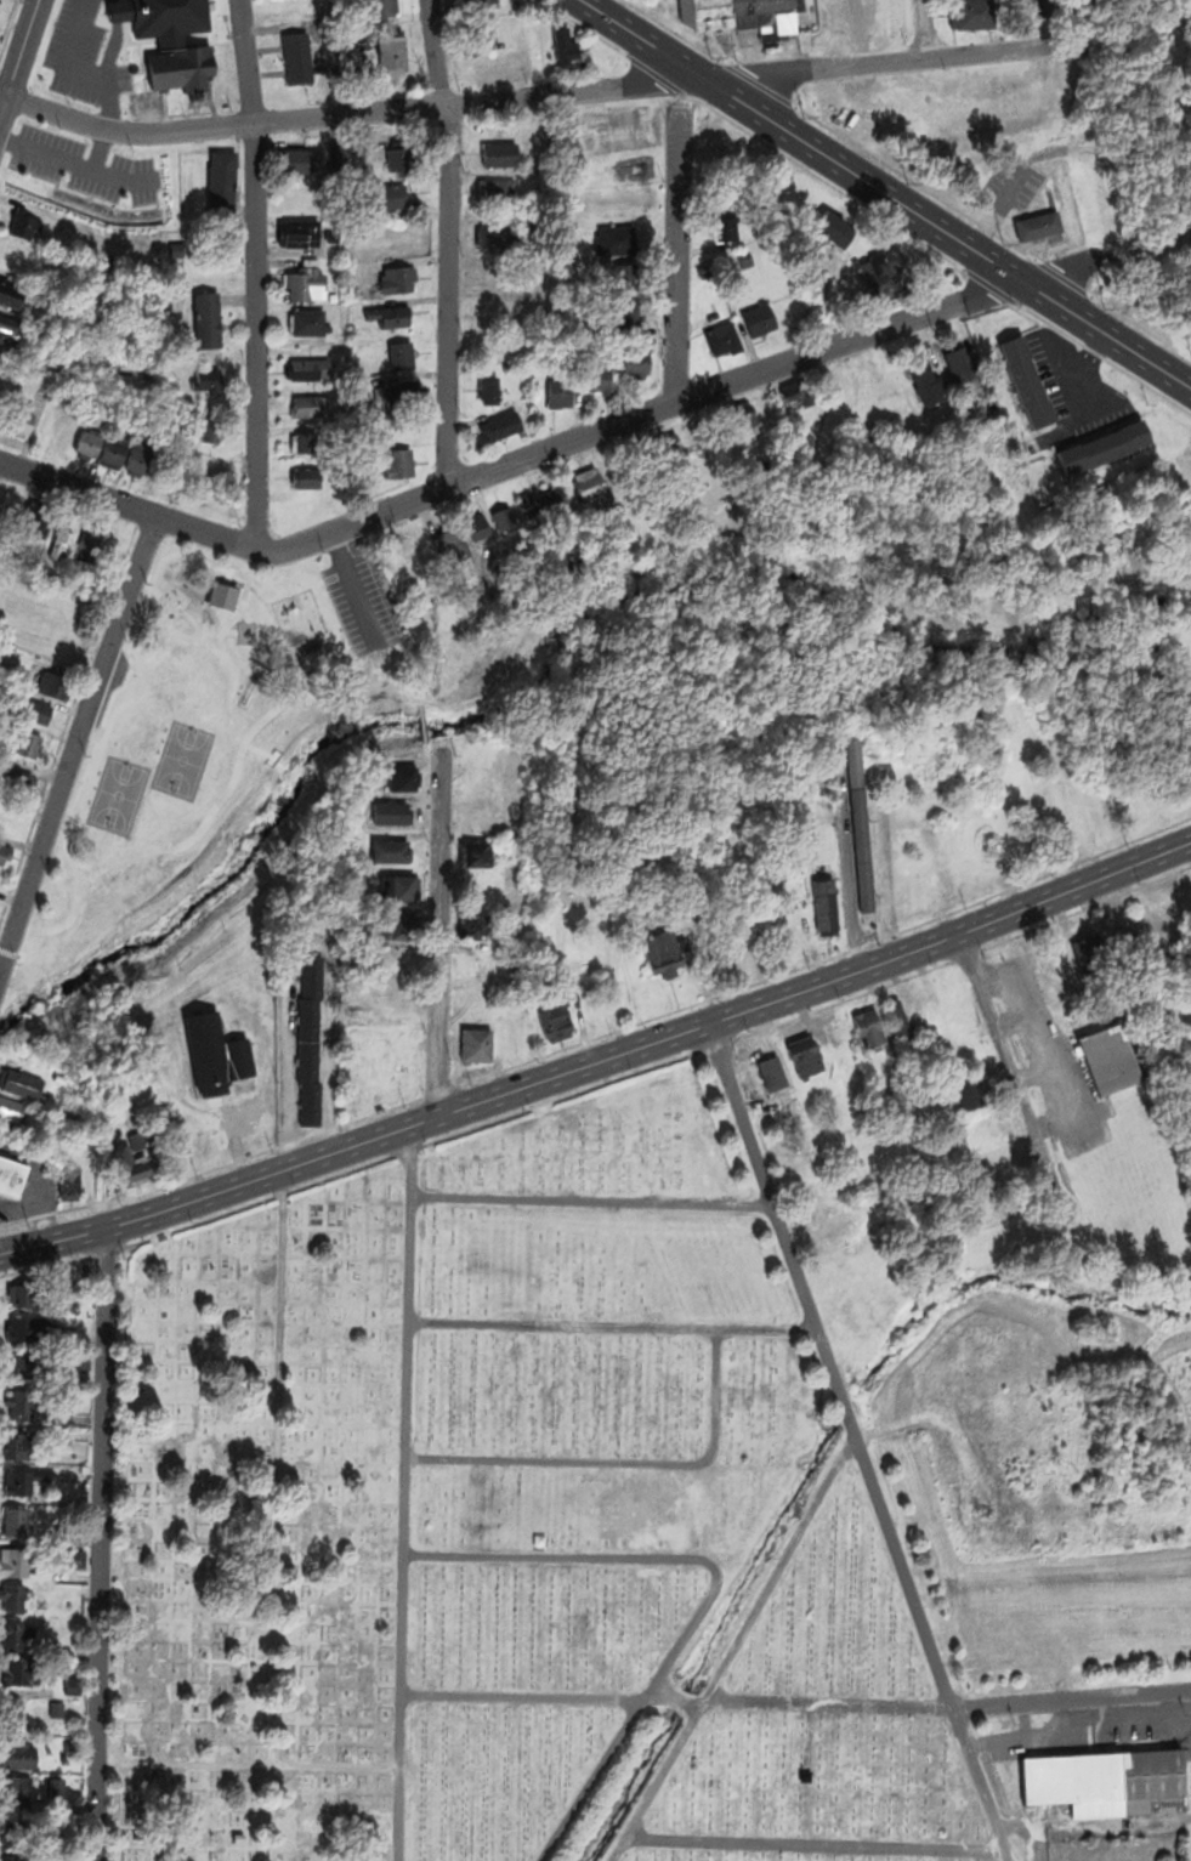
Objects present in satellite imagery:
building: (481, 4)
building: (379, 8)
building: (1045, 11)
building: (686, 12)
building: (711, 13)
building: (975, 15)
building: (767, 16)
building: (483, 28)
road: (928, 29)
building: (562, 46)
building: (393, 53)
road: (18, 55)
building: (297, 57)
building: (180, 68)
road: (532, 95)
road: (8, 141)
road: (100, 149)
building: (336, 153)
building: (500, 153)
building: (398, 157)
building: (300, 160)
parking lot: (85, 166)
road: (84, 169)
building: (1062, 171)
building: (221, 186)
building: (495, 189)
road: (890, 189)
building: (390, 195)
building: (724, 219)
building: (21, 221)
building: (1036, 222)
building: (828, 226)
building: (297, 231)
building: (330, 233)
building: (497, 238)
building: (616, 238)
road: (449, 239)
road: (1142, 243)
building: (177, 246)
road: (677, 255)
building: (745, 255)
building: (883, 271)
road: (254, 273)
building: (397, 277)
building: (622, 277)
building: (306, 280)
building: (351, 288)
building: (11, 294)
building: (334, 294)
building: (713, 305)
building: (393, 312)
building: (497, 313)
building: (625, 313)
building: (353, 316)
building: (205, 317)
building: (758, 318)
building: (308, 320)
building: (11, 330)
building: (724, 339)
building: (494, 348)
building: (401, 354)
building: (636, 361)
building: (957, 363)
building: (310, 367)
building: (206, 376)
building: (599, 378)
building: (925, 381)
building: (1026, 381)
building: (851, 386)
building: (487, 388)
building: (558, 388)
building: (798, 391)
building: (398, 392)
building: (529, 399)
building: (308, 405)
building: (533, 409)
building: (736, 414)
building: (19, 415)
building: (501, 425)
building: (59, 429)
building: (211, 429)
building: (87, 442)
building: (311, 442)
building: (1102, 444)
building: (660, 446)
building: (114, 448)
road: (545, 448)
building: (144, 456)
building: (398, 463)
building: (308, 478)
building: (592, 488)
building: (555, 497)
building: (528, 506)
building: (7, 507)
building: (504, 516)
building: (36, 522)
building: (478, 527)
building: (63, 533)
building: (90, 539)
building: (450, 544)
building: (399, 555)
building: (50, 683)
building: (32, 708)
building: (22, 741)
road: (78, 744)
park: (206, 762)
building: (403, 778)
building: (476, 779)
building: (17, 781)
building: (392, 813)
building: (475, 815)
building: (11, 822)
building: (860, 833)
building: (5, 850)
building: (393, 850)
building: (476, 852)
building: (398, 886)
building: (826, 903)
building: (401, 925)
building: (476, 925)
road: (441, 926)
building: (790, 944)
building: (1130, 946)
building: (664, 952)
building: (1091, 954)
building: (473, 1004)
building: (556, 1021)
building: (902, 1022)
building: (869, 1027)
building: (841, 1036)
building: (310, 1038)
building: (477, 1044)
building: (215, 1053)
building: (804, 1055)
building: (1110, 1057)
road: (599, 1059)
road: (1013, 1068)
building: (772, 1073)
building: (22, 1083)
building: (969, 1093)
building: (78, 1100)
building: (16, 1111)
road: (413, 1146)
building: (991, 1152)
building: (130, 1164)
building: (12, 1175)
building: (68, 1184)
road: (594, 1199)
building: (1009, 1209)
building: (30, 1323)
road: (614, 1326)
building: (80, 1358)
building: (21, 1363)
road: (833, 1364)
building: (21, 1403)
building: (16, 1446)
road: (622, 1460)
building: (84, 1468)
building: (23, 1480)
road: (405, 1493)
road: (276, 1515)
building: (16, 1520)
park: (506, 1520)
building: (73, 1532)
road: (100, 1544)
building: (69, 1559)
building: (12, 1561)
road: (121, 1564)
road: (716, 1583)
building: (15, 1596)
building: (16, 1628)
road: (733, 1647)
building: (18, 1668)
building: (73, 1685)
road: (1071, 1698)
road: (677, 1700)
building: (13, 1712)
building: (73, 1748)
building: (18, 1753)
road: (260, 1764)
building: (1153, 1777)
building: (1077, 1781)
road: (979, 1785)
building: (56, 1786)
building: (15, 1789)
building: (38, 1804)
road: (812, 1843)
building: (10, 1844)

